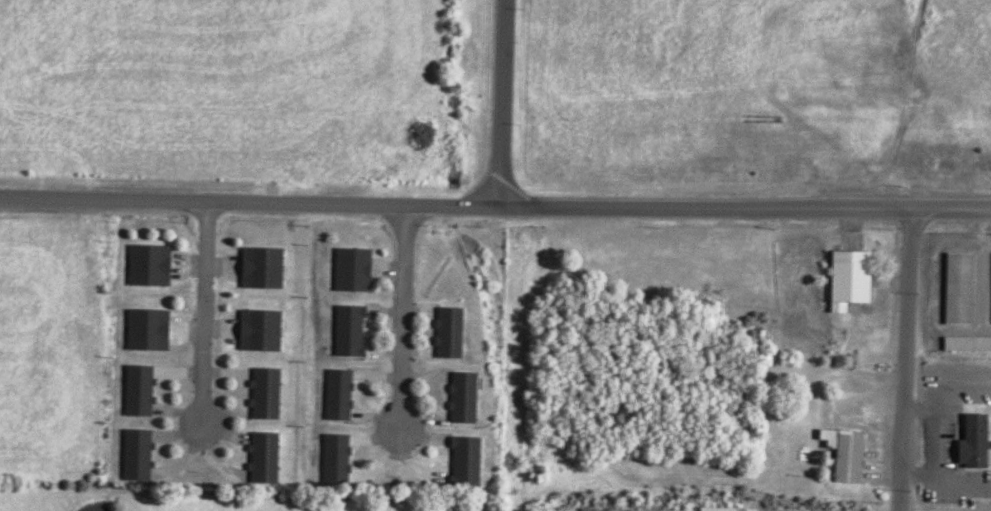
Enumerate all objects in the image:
road: (507, 104)
road: (495, 208)
building: (156, 265)
building: (264, 269)
building: (359, 270)
building: (963, 289)
road: (201, 313)
road: (401, 320)
building: (155, 329)
building: (267, 330)
building: (356, 331)
building: (455, 332)
building: (145, 391)
building: (272, 393)
road: (904, 394)
building: (346, 395)
building: (470, 398)
building: (979, 445)
building: (143, 455)
building: (858, 457)
building: (271, 458)
building: (342, 459)
building: (471, 463)
road: (901, 501)
building: (723, 508)
building: (667, 510)

